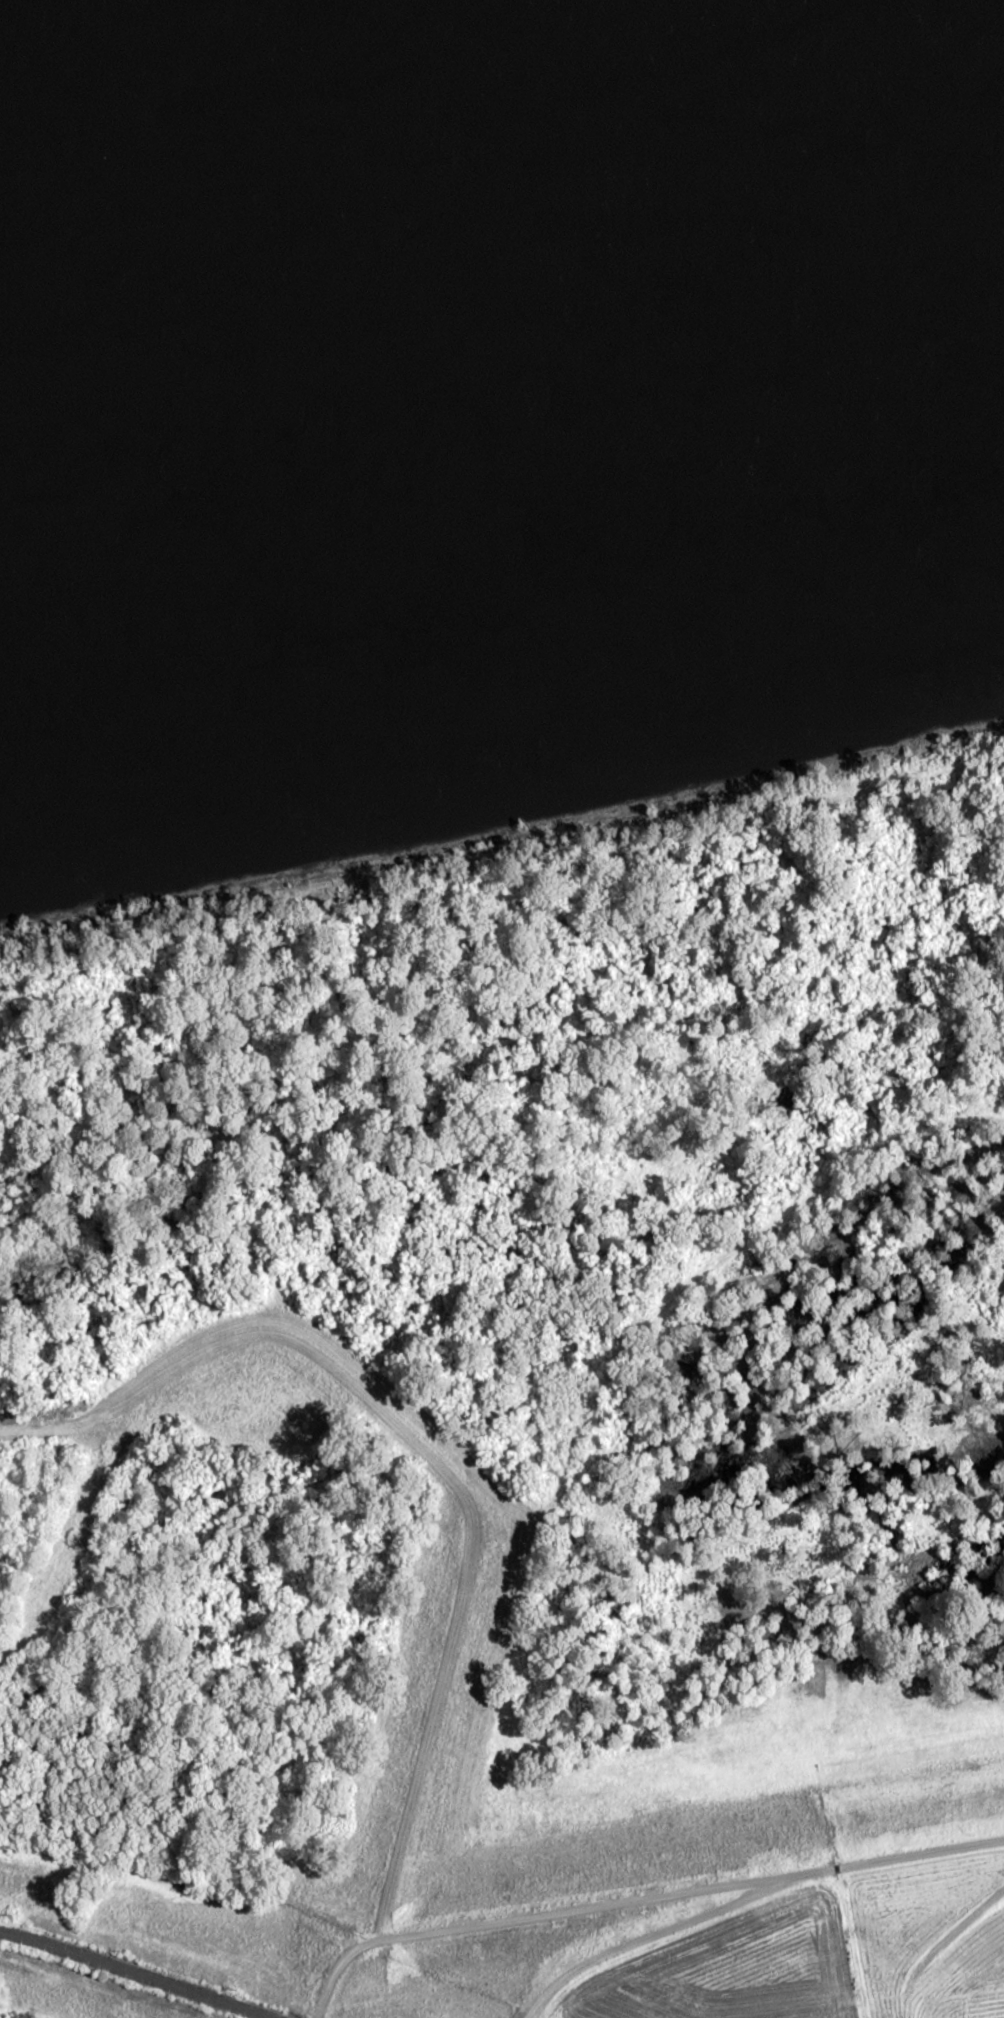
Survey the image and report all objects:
road: (641, 1902)
road: (659, 1936)
road: (939, 1947)
road: (132, 1974)

